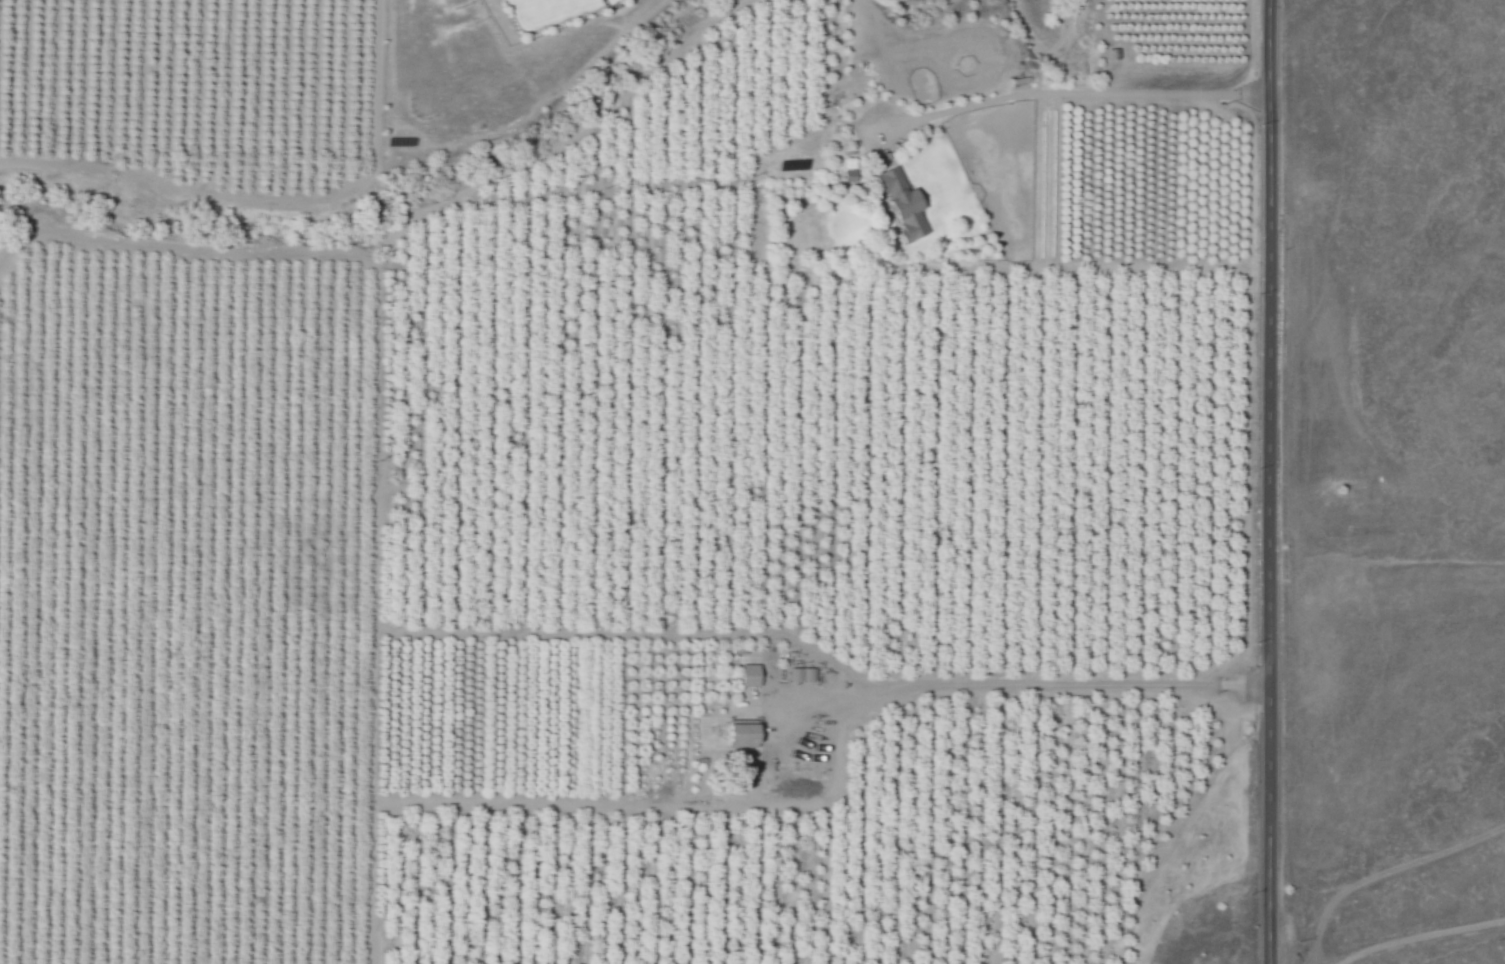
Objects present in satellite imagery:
road: (1082, 92)
building: (906, 203)
road: (1277, 481)
building: (803, 674)
building: (752, 675)
road: (1028, 685)
building: (747, 735)
road: (1421, 936)

